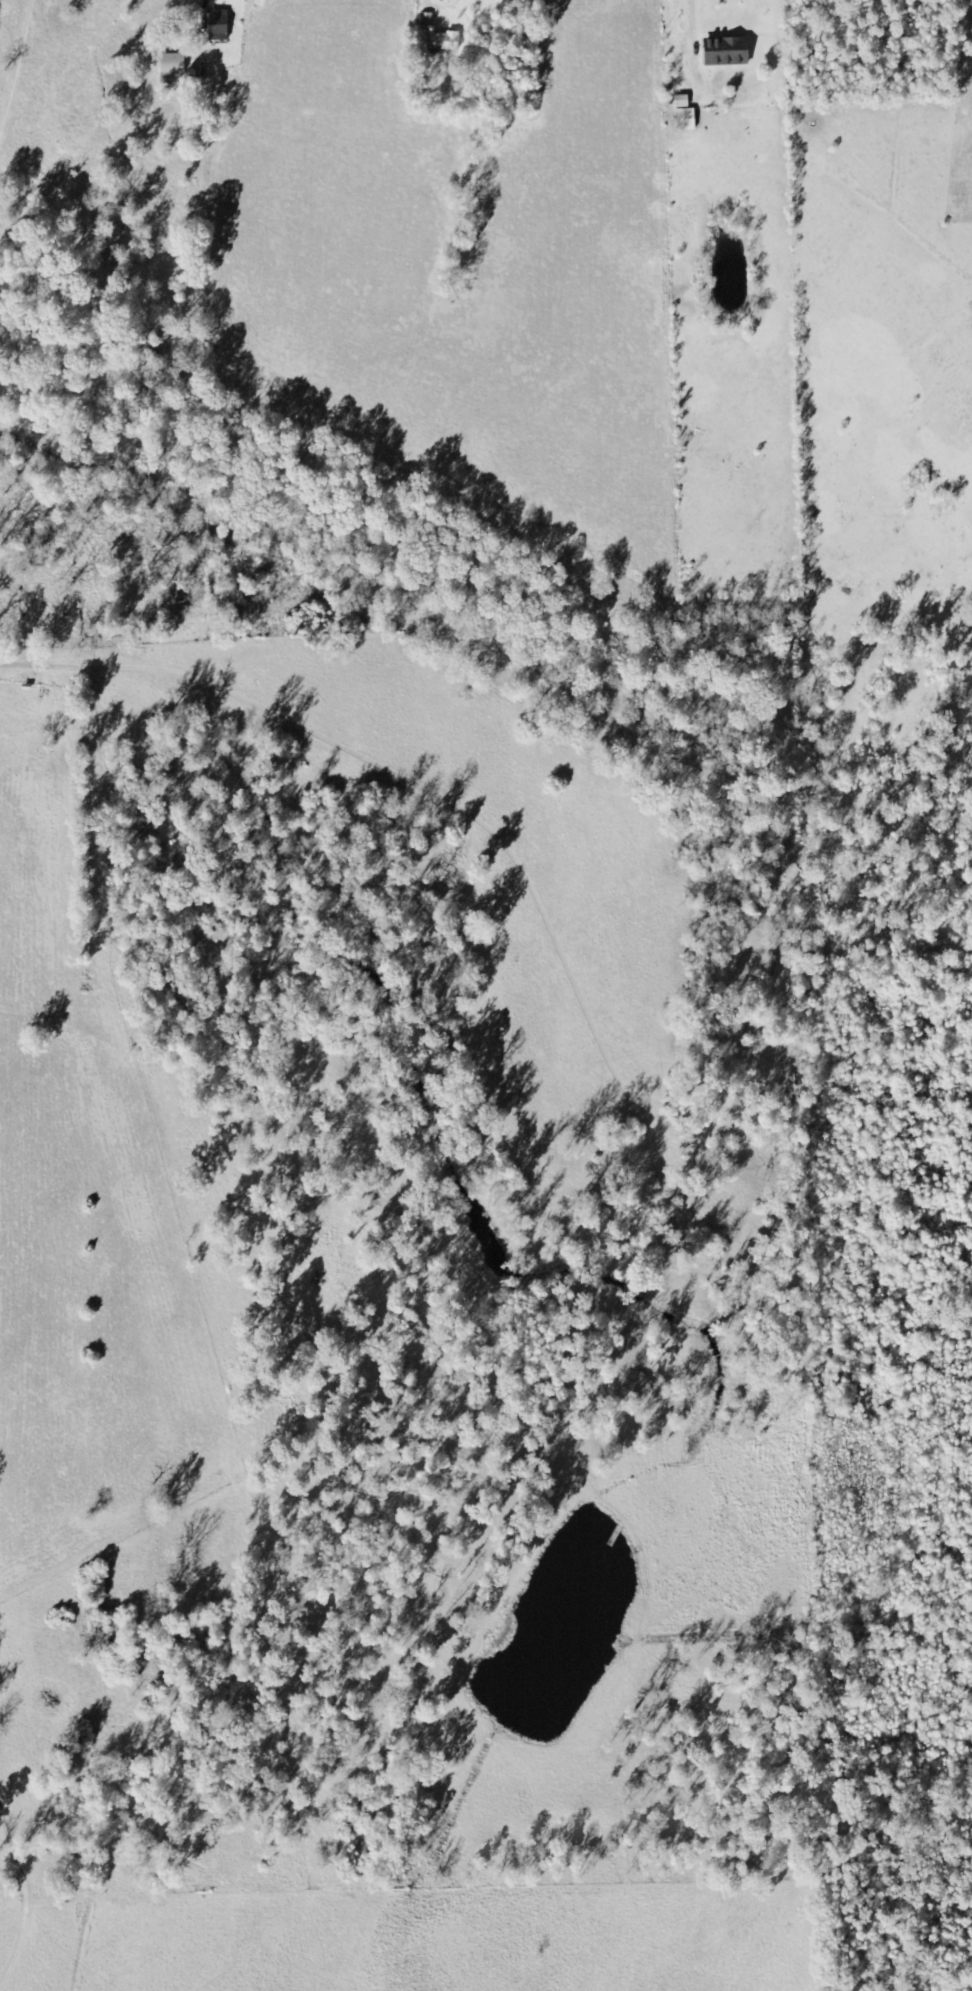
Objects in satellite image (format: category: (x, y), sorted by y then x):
building: (216, 26)
building: (442, 42)
building: (723, 52)
building: (169, 67)
building: (679, 101)
building: (683, 119)

